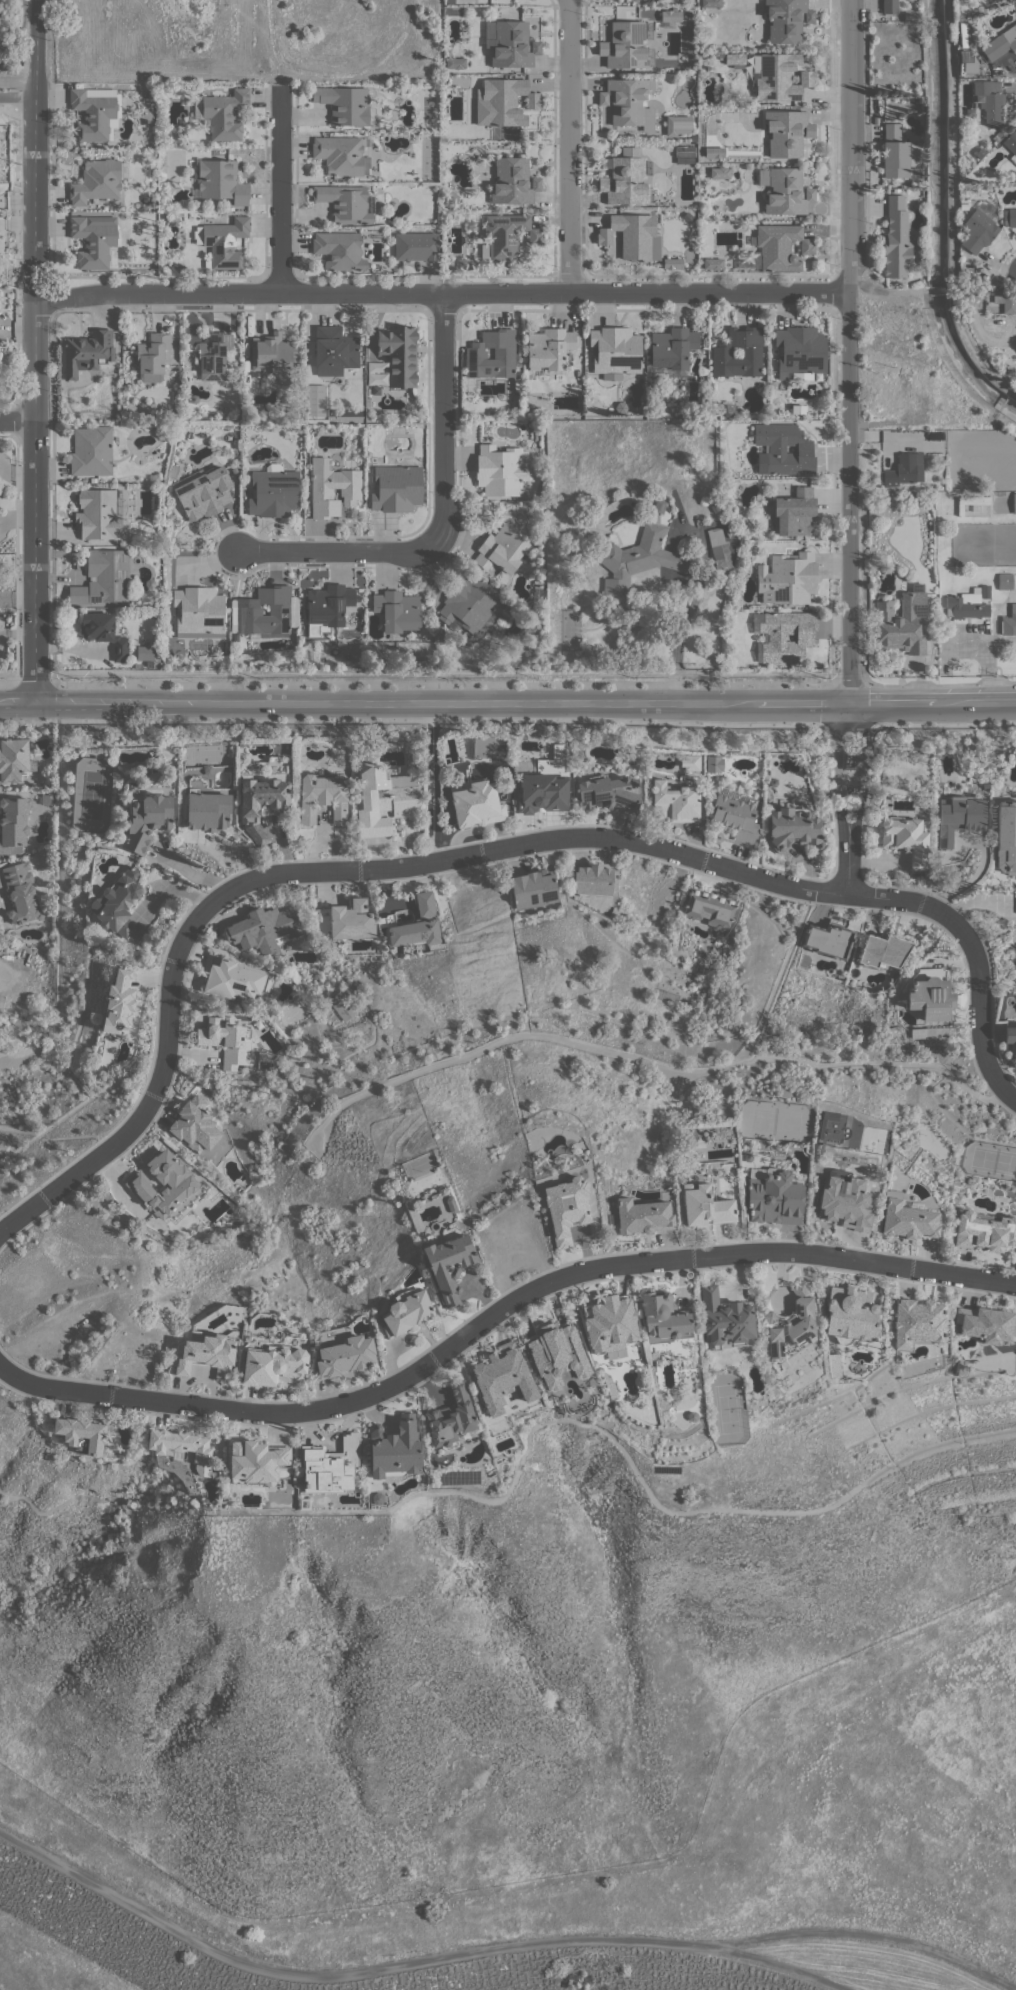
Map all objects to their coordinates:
building: (710, 3)
building: (889, 6)
building: (1014, 7)
building: (670, 15)
building: (911, 17)
building: (786, 19)
building: (906, 28)
building: (964, 34)
building: (1000, 43)
building: (512, 44)
building: (625, 45)
road: (924, 47)
building: (707, 54)
building: (734, 58)
building: (454, 62)
building: (780, 77)
road: (17, 95)
building: (628, 101)
building: (990, 101)
building: (503, 102)
building: (346, 104)
building: (95, 112)
building: (221, 113)
building: (671, 125)
building: (786, 132)
building: (999, 133)
road: (949, 143)
building: (1011, 144)
road: (568, 146)
building: (684, 150)
building: (714, 152)
building: (894, 152)
building: (341, 154)
building: (719, 172)
building: (918, 175)
building: (98, 180)
building: (219, 180)
building: (513, 181)
building: (625, 181)
road: (279, 189)
building: (784, 190)
road: (926, 192)
building: (146, 199)
building: (346, 202)
road: (17, 203)
building: (1009, 216)
building: (977, 231)
building: (633, 235)
building: (507, 236)
building: (93, 239)
building: (896, 239)
building: (222, 242)
building: (416, 246)
building: (780, 246)
building: (339, 250)
building: (467, 263)
building: (672, 263)
building: (713, 263)
road: (938, 288)
road: (961, 288)
road: (886, 289)
road: (442, 293)
building: (1007, 302)
building: (549, 347)
building: (673, 348)
road: (35, 349)
road: (970, 349)
building: (334, 350)
building: (87, 351)
building: (615, 351)
road: (848, 351)
building: (273, 353)
building: (722, 353)
building: (800, 353)
building: (399, 354)
building: (493, 354)
building: (213, 355)
building: (152, 356)
building: (700, 369)
road: (952, 370)
building: (517, 383)
building: (375, 390)
building: (193, 398)
building: (620, 406)
building: (728, 410)
road: (443, 411)
road: (17, 420)
building: (228, 437)
building: (782, 449)
building: (91, 451)
building: (905, 469)
building: (235, 470)
building: (501, 470)
building: (332, 488)
building: (396, 488)
building: (203, 491)
building: (274, 491)
building: (154, 501)
building: (970, 502)
building: (1014, 503)
building: (658, 506)
building: (794, 512)
building: (100, 513)
building: (520, 516)
building: (718, 548)
building: (502, 549)
road: (343, 551)
building: (637, 558)
building: (751, 560)
building: (104, 577)
building: (787, 578)
building: (1005, 581)
building: (150, 583)
building: (985, 591)
building: (541, 595)
building: (469, 603)
building: (967, 604)
building: (327, 606)
building: (398, 610)
building: (198, 612)
building: (269, 613)
building: (505, 614)
building: (1009, 621)
building: (901, 623)
building: (104, 633)
building: (773, 636)
road: (677, 642)
building: (144, 653)
road: (849, 682)
road: (7, 683)
road: (33, 683)
road: (443, 683)
road: (939, 684)
road: (508, 701)
road: (848, 709)
road: (411, 720)
road: (943, 724)
road: (846, 725)
road: (836, 751)
road: (858, 752)
building: (14, 759)
building: (849, 761)
building: (690, 762)
building: (713, 764)
building: (207, 769)
building: (772, 780)
building: (544, 786)
building: (607, 793)
building: (323, 796)
building: (385, 800)
building: (674, 802)
building: (476, 803)
building: (207, 810)
building: (249, 813)
building: (735, 816)
building: (958, 817)
building: (146, 820)
building: (13, 823)
building: (792, 828)
building: (1006, 836)
building: (906, 837)
road: (839, 842)
road: (854, 843)
road: (475, 852)
building: (593, 880)
building: (533, 888)
building: (21, 892)
building: (119, 904)
building: (708, 907)
building: (351, 920)
building: (416, 927)
building: (264, 929)
building: (828, 940)
building: (883, 950)
building: (231, 977)
building: (691, 985)
building: (930, 993)
building: (118, 1002)
building: (341, 1005)
building: (928, 1032)
building: (1011, 1039)
road: (39, 1040)
building: (227, 1040)
building: (263, 1059)
building: (195, 1124)
building: (832, 1130)
road: (20, 1131)
road: (78, 1136)
building: (689, 1153)
building: (746, 1157)
building: (165, 1185)
building: (774, 1195)
building: (959, 1198)
building: (451, 1203)
building: (846, 1203)
building: (705, 1206)
building: (566, 1207)
building: (641, 1216)
building: (908, 1218)
building: (985, 1230)
building: (449, 1265)
road: (497, 1311)
building: (406, 1312)
building: (789, 1314)
building: (851, 1314)
building: (664, 1317)
building: (725, 1318)
building: (610, 1323)
building: (918, 1324)
building: (988, 1325)
building: (792, 1326)
building: (556, 1353)
building: (208, 1355)
building: (345, 1356)
building: (653, 1364)
building: (833, 1364)
building: (275, 1365)
building: (502, 1377)
building: (609, 1386)
building: (691, 1416)
building: (452, 1419)
building: (81, 1434)
building: (182, 1447)
building: (394, 1449)
building: (256, 1462)
building: (330, 1465)
building: (376, 1499)
building: (303, 1505)
road: (37, 1506)
road: (869, 1935)
road: (409, 1964)

